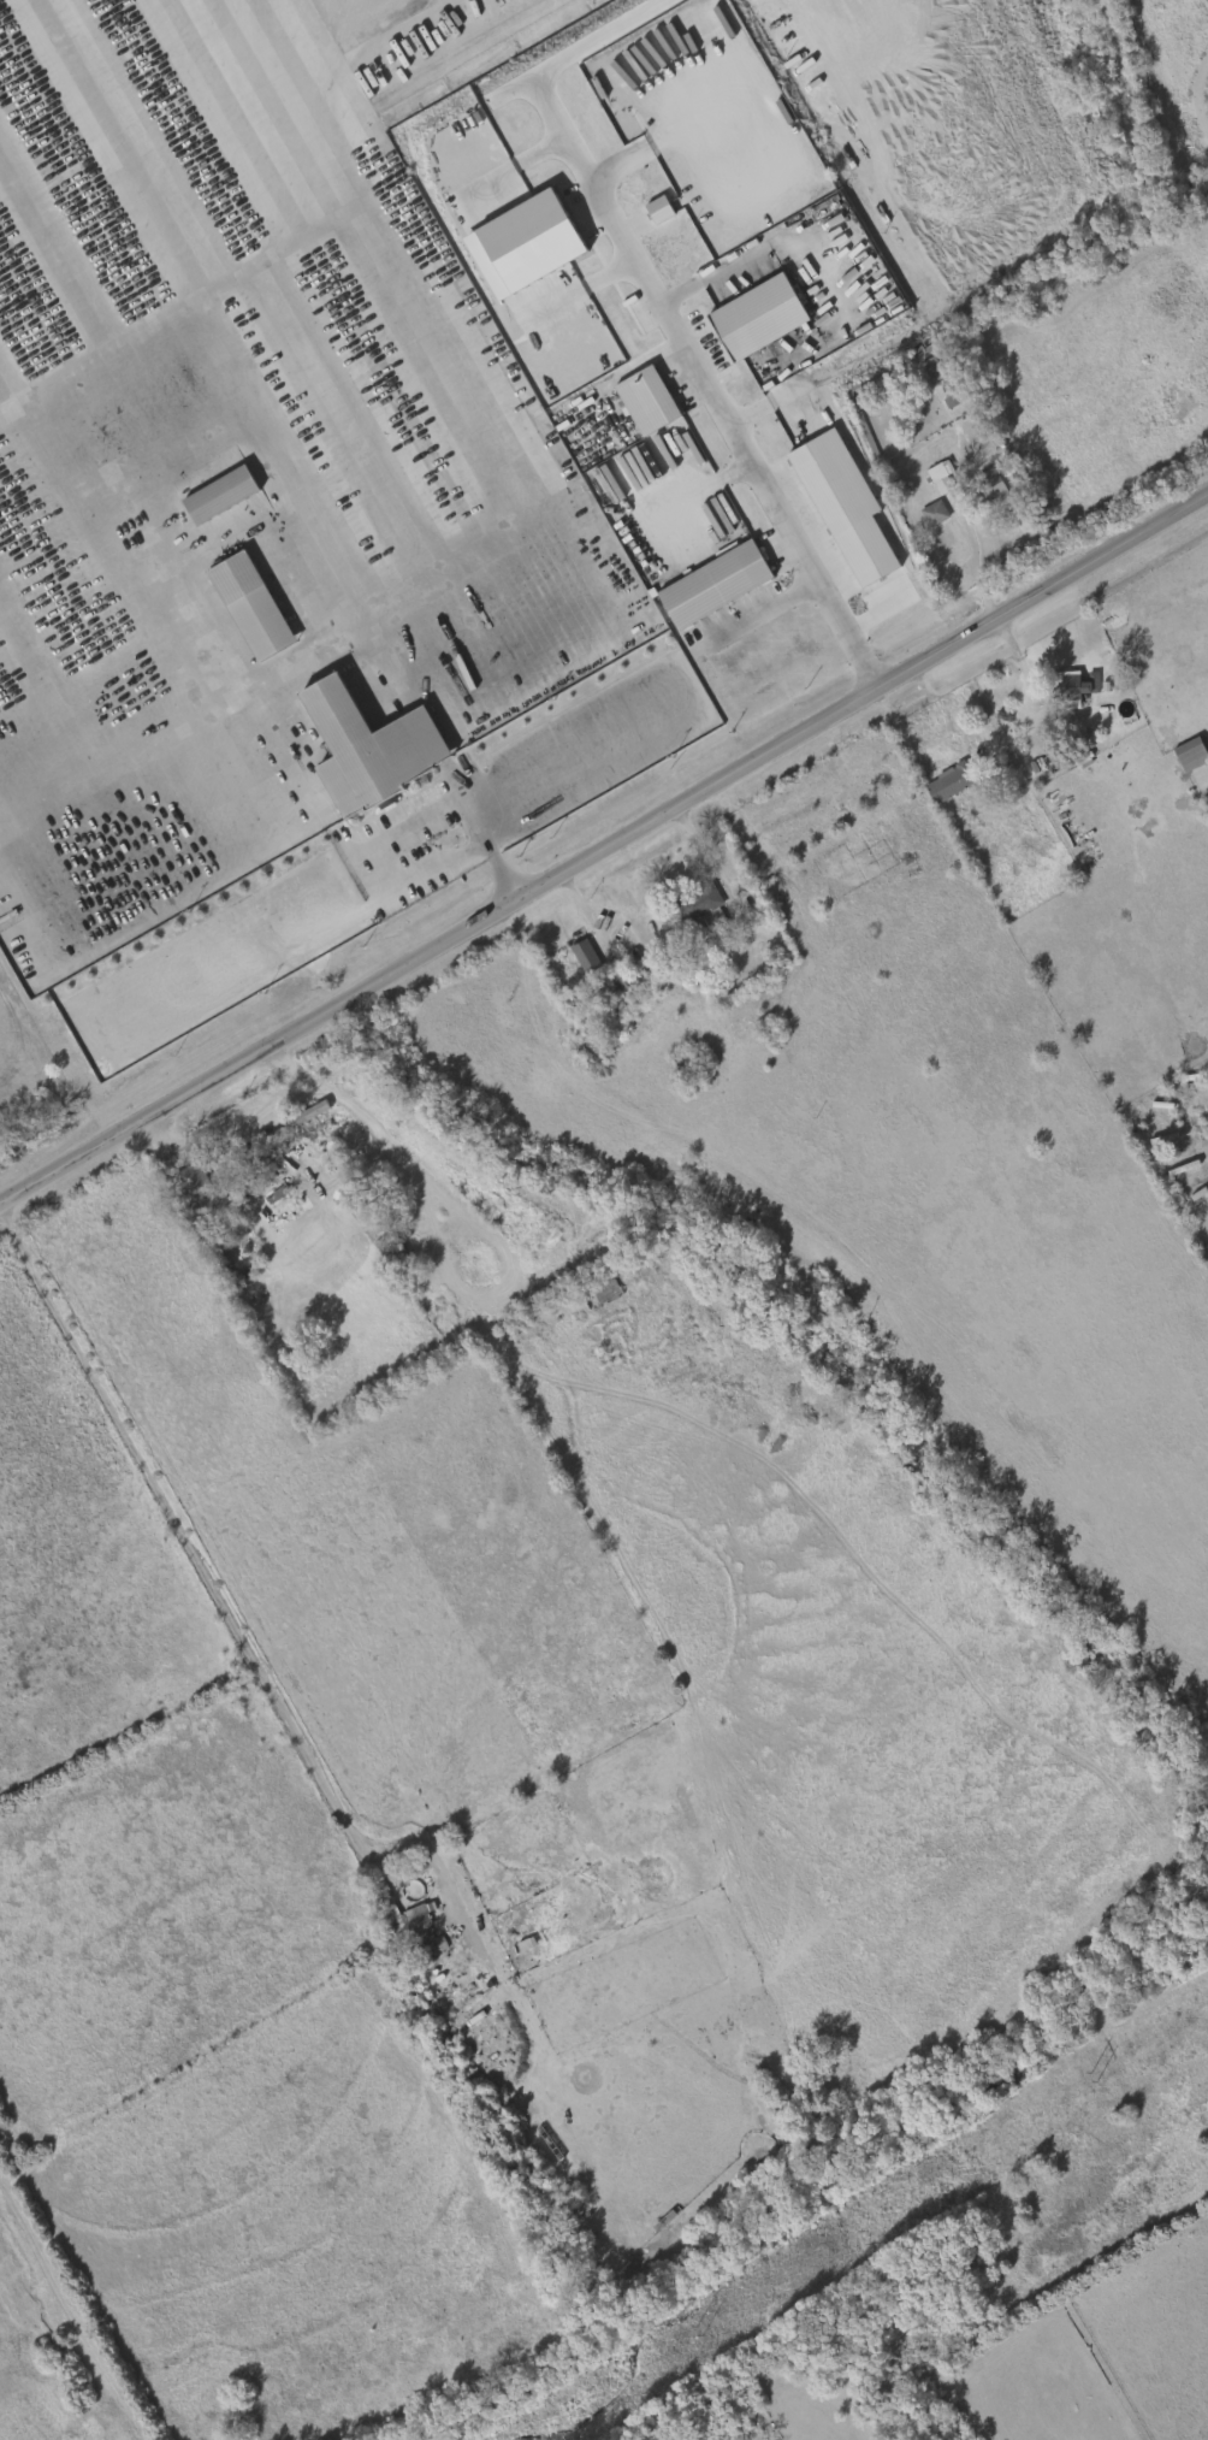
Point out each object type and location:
building: (659, 211)
building: (531, 242)
road: (709, 278)
building: (759, 317)
road: (438, 344)
building: (931, 366)
building: (647, 401)
road: (721, 410)
building: (941, 472)
building: (990, 481)
building: (217, 494)
road: (699, 495)
building: (845, 506)
building: (934, 512)
road: (978, 572)
building: (716, 585)
building: (248, 604)
road: (758, 614)
road: (397, 630)
road: (1032, 683)
building: (1072, 683)
road: (930, 695)
road: (251, 711)
road: (693, 715)
road: (904, 729)
building: (365, 746)
building: (1189, 752)
road: (123, 754)
building: (952, 781)
road: (405, 827)
road: (604, 851)
road: (713, 858)
road: (507, 879)
building: (701, 899)
building: (585, 956)
building: (685, 1052)
building: (308, 1111)
road: (255, 1121)
building: (190, 1181)
building: (286, 1203)
building: (606, 1290)
building: (419, 1919)
building: (458, 1969)
building: (458, 1992)
power tower: (1094, 2076)
power tower: (699, 2330)

